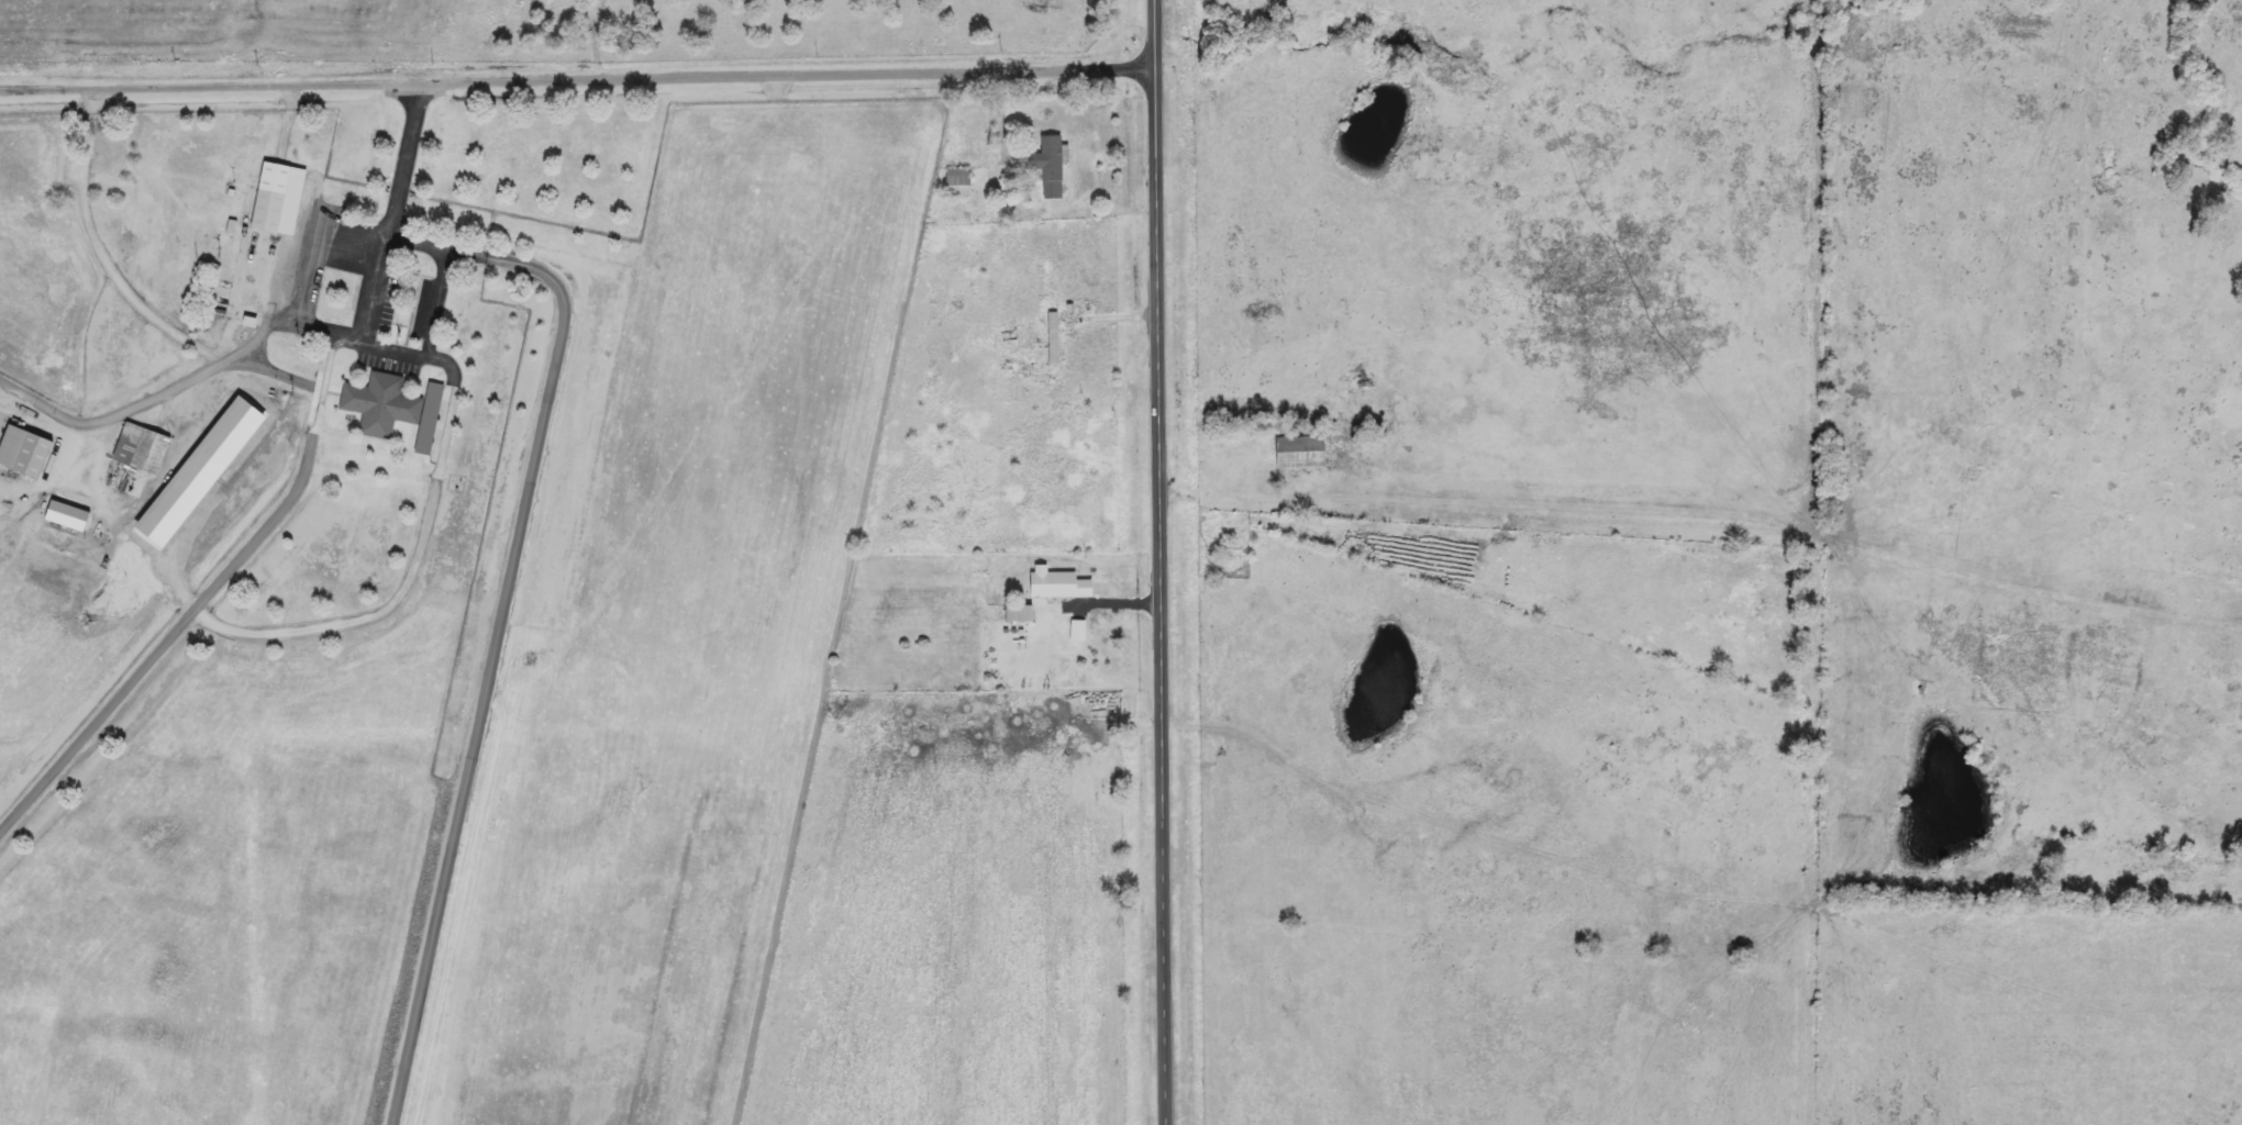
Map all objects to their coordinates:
road: (577, 80)
building: (1052, 165)
building: (961, 182)
building: (280, 199)
road: (106, 253)
road: (296, 271)
road: (437, 302)
building: (1055, 338)
road: (281, 372)
road: (147, 401)
building: (395, 409)
road: (447, 414)
building: (445, 424)
building: (26, 452)
building: (154, 453)
building: (1303, 453)
road: (191, 493)
building: (69, 516)
road: (1159, 562)
building: (1061, 584)
road: (200, 602)
building: (1022, 614)
road: (503, 619)
building: (1079, 631)
dam: (463, 838)

